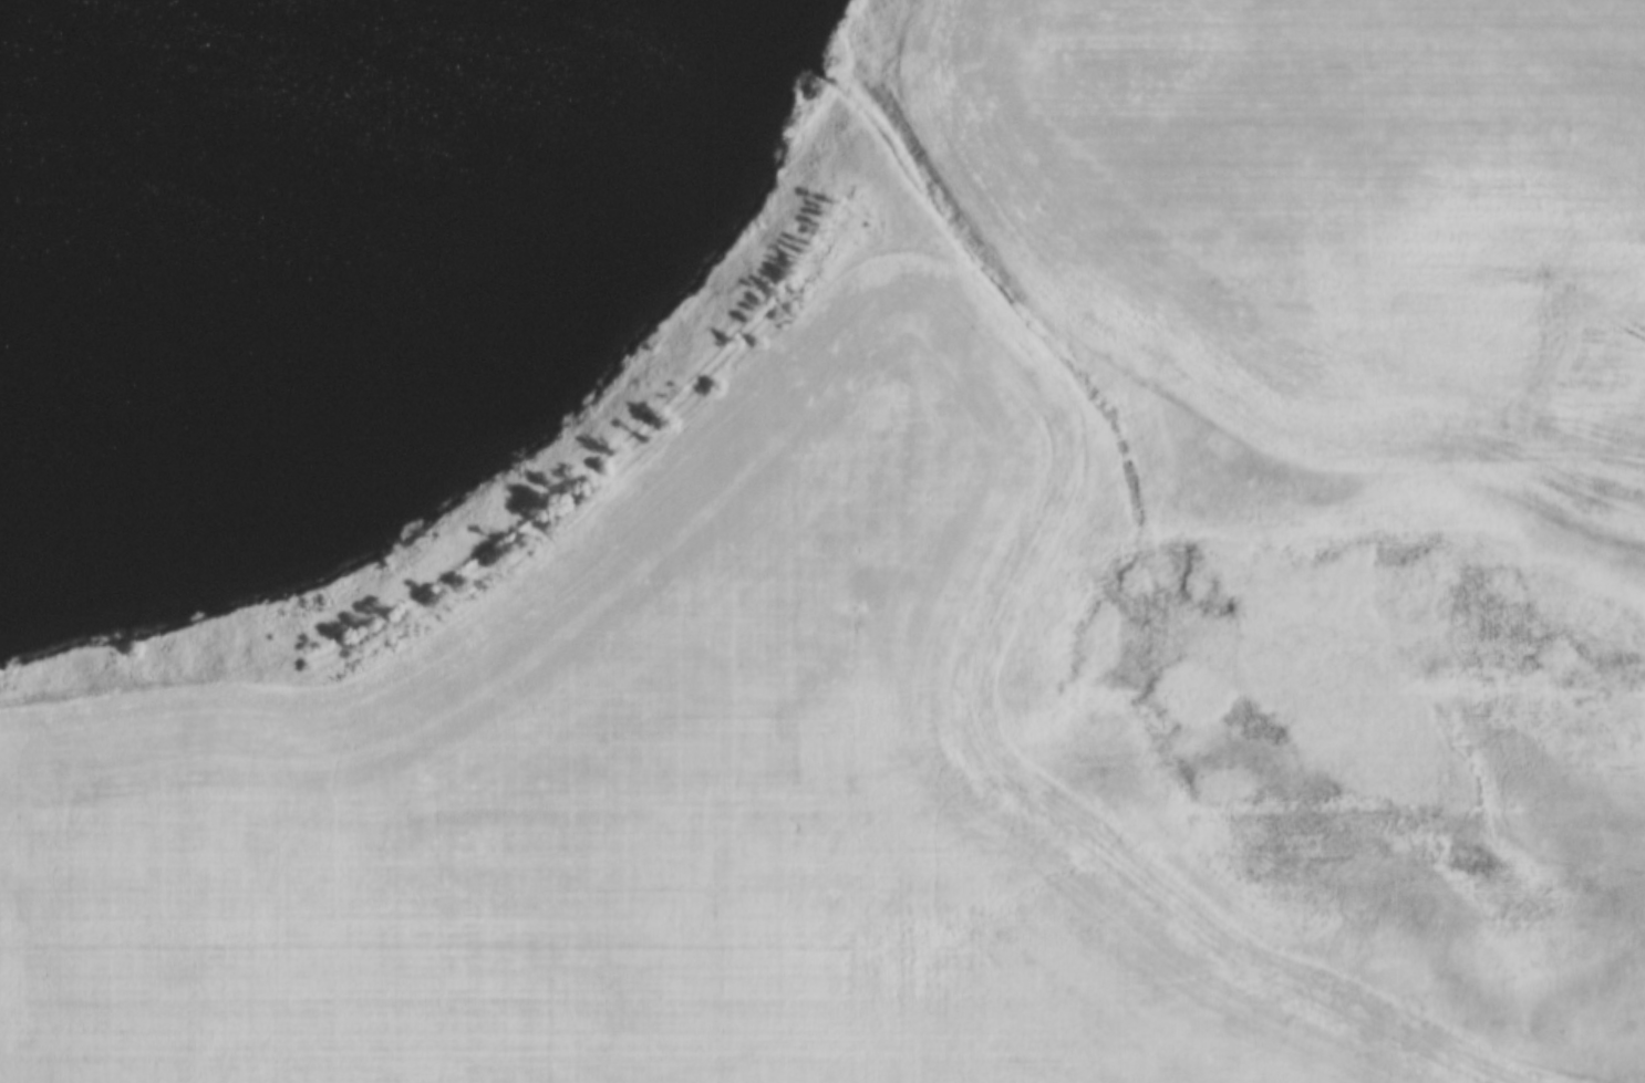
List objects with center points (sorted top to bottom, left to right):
crop: (1335, 211)
crop: (659, 798)

